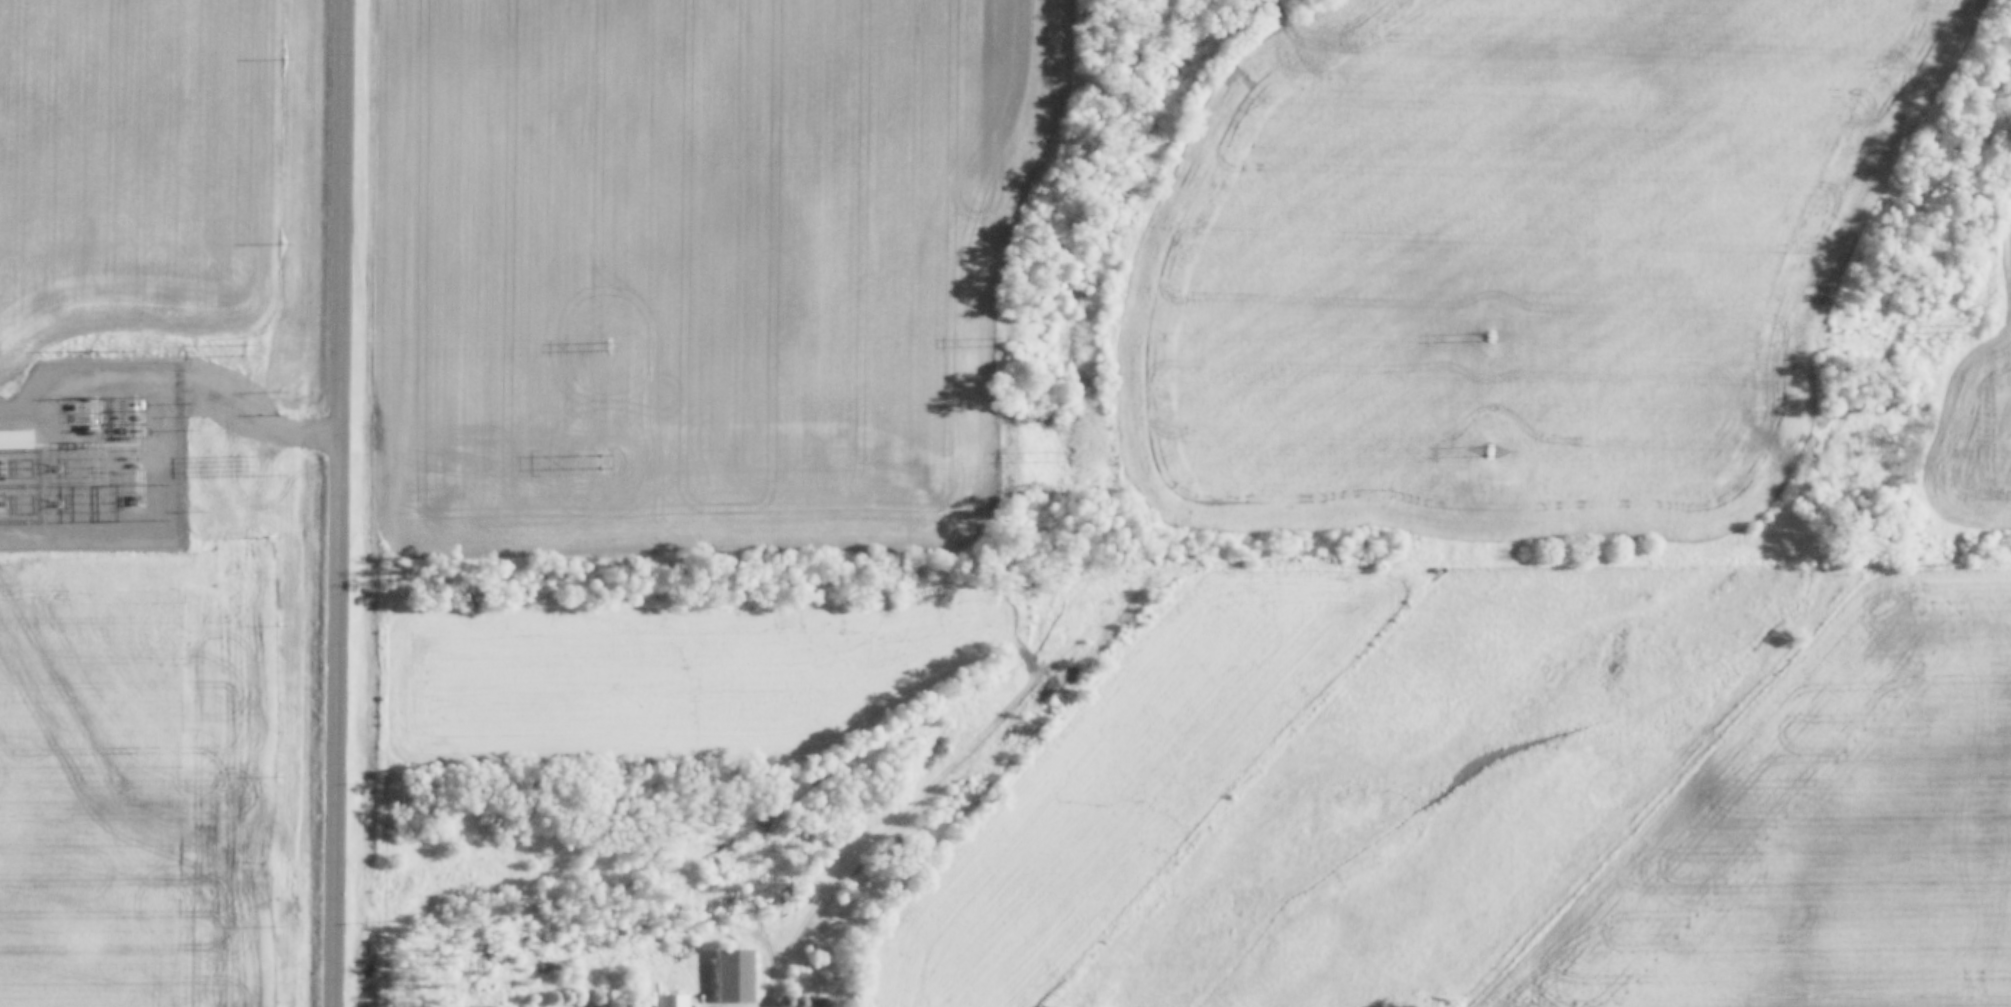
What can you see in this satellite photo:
power tower: (1950, 327)
power tower: (1489, 334)
power tower: (1003, 341)
power tower: (245, 347)
power tower: (604, 347)
power tower: (134, 350)
road: (263, 418)
building: (15, 439)
power tower: (1488, 450)
power substation: (93, 456)
power tower: (1045, 456)
power tower: (604, 462)
power tower: (238, 464)
road: (343, 503)
power tower: (1943, 560)
building: (735, 975)
building: (672, 1000)

